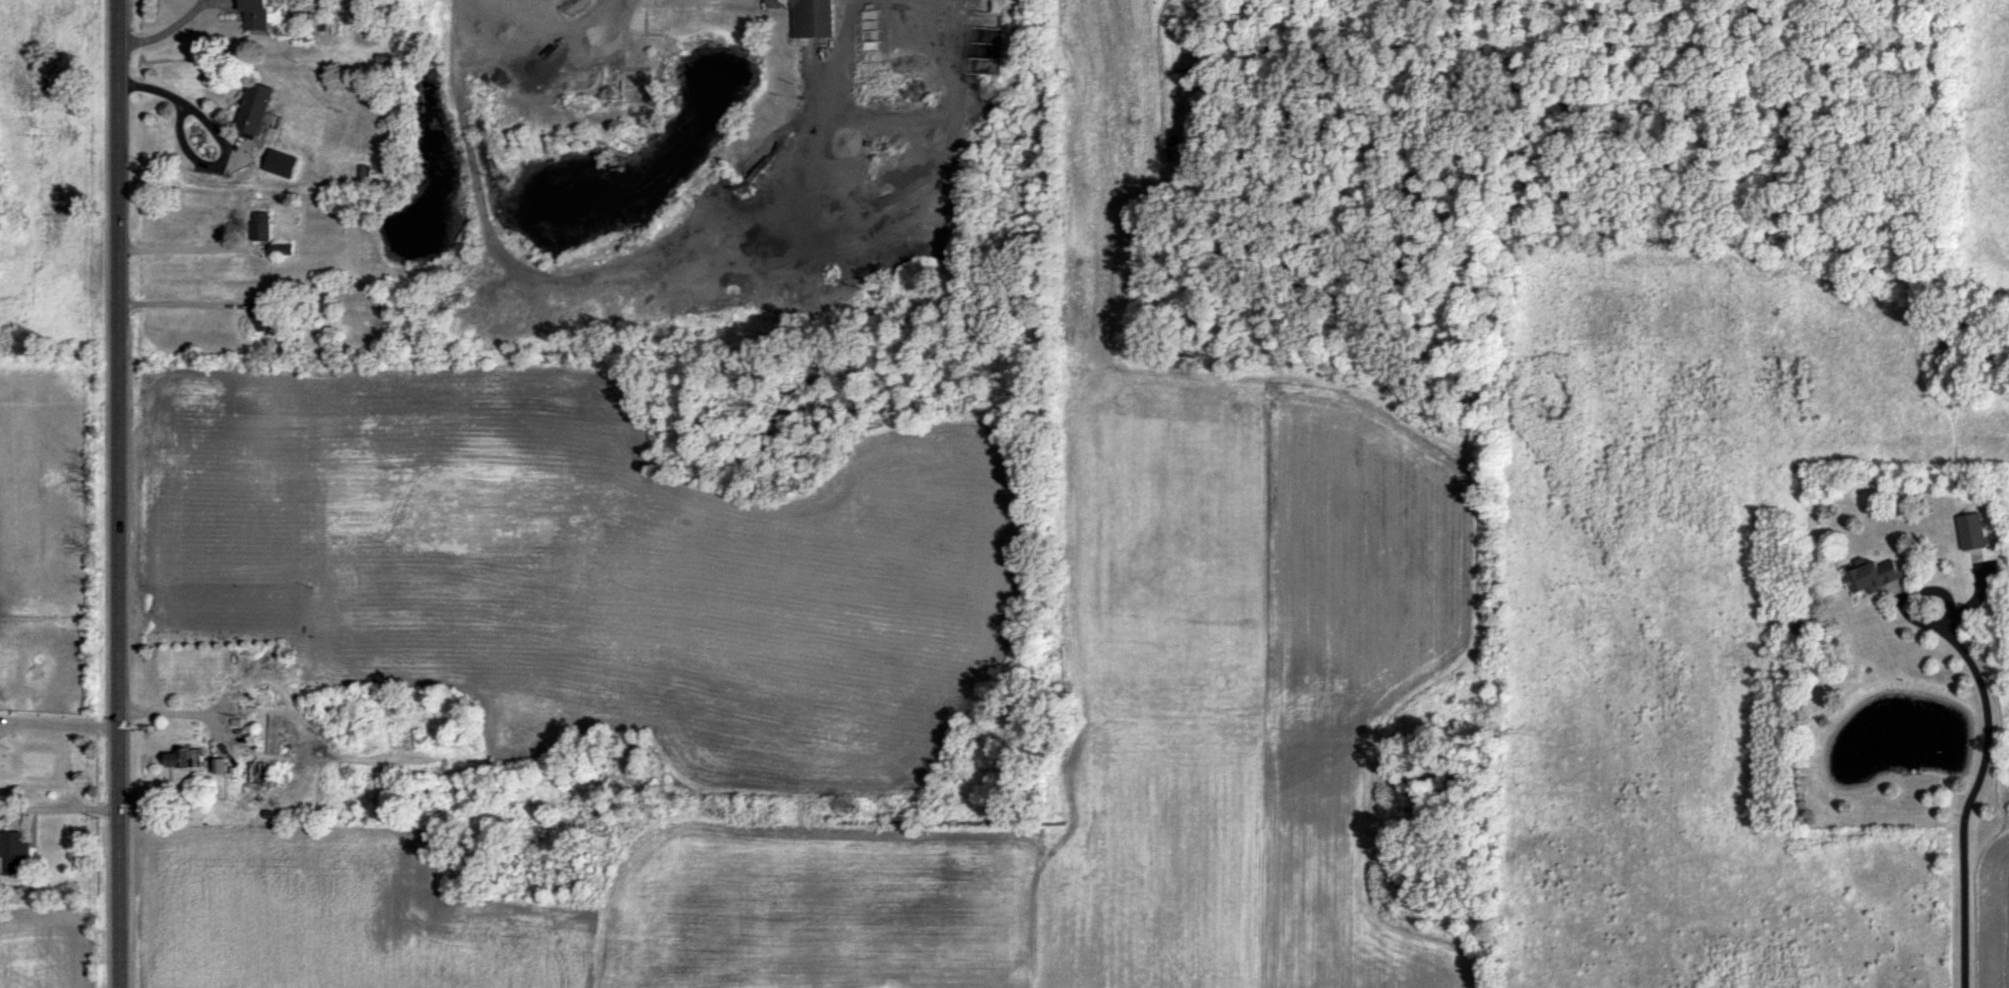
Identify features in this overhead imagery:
building: (255, 13)
building: (813, 18)
road: (166, 30)
road: (182, 99)
building: (255, 107)
building: (262, 225)
building: (281, 248)
road: (186, 249)
road: (184, 304)
building: (261, 314)
road: (121, 494)
building: (1971, 531)
building: (1874, 575)
road: (1918, 585)
road: (180, 713)
road: (61, 722)
building: (185, 757)
building: (219, 765)
building: (257, 771)
road: (1973, 797)
building: (16, 853)

